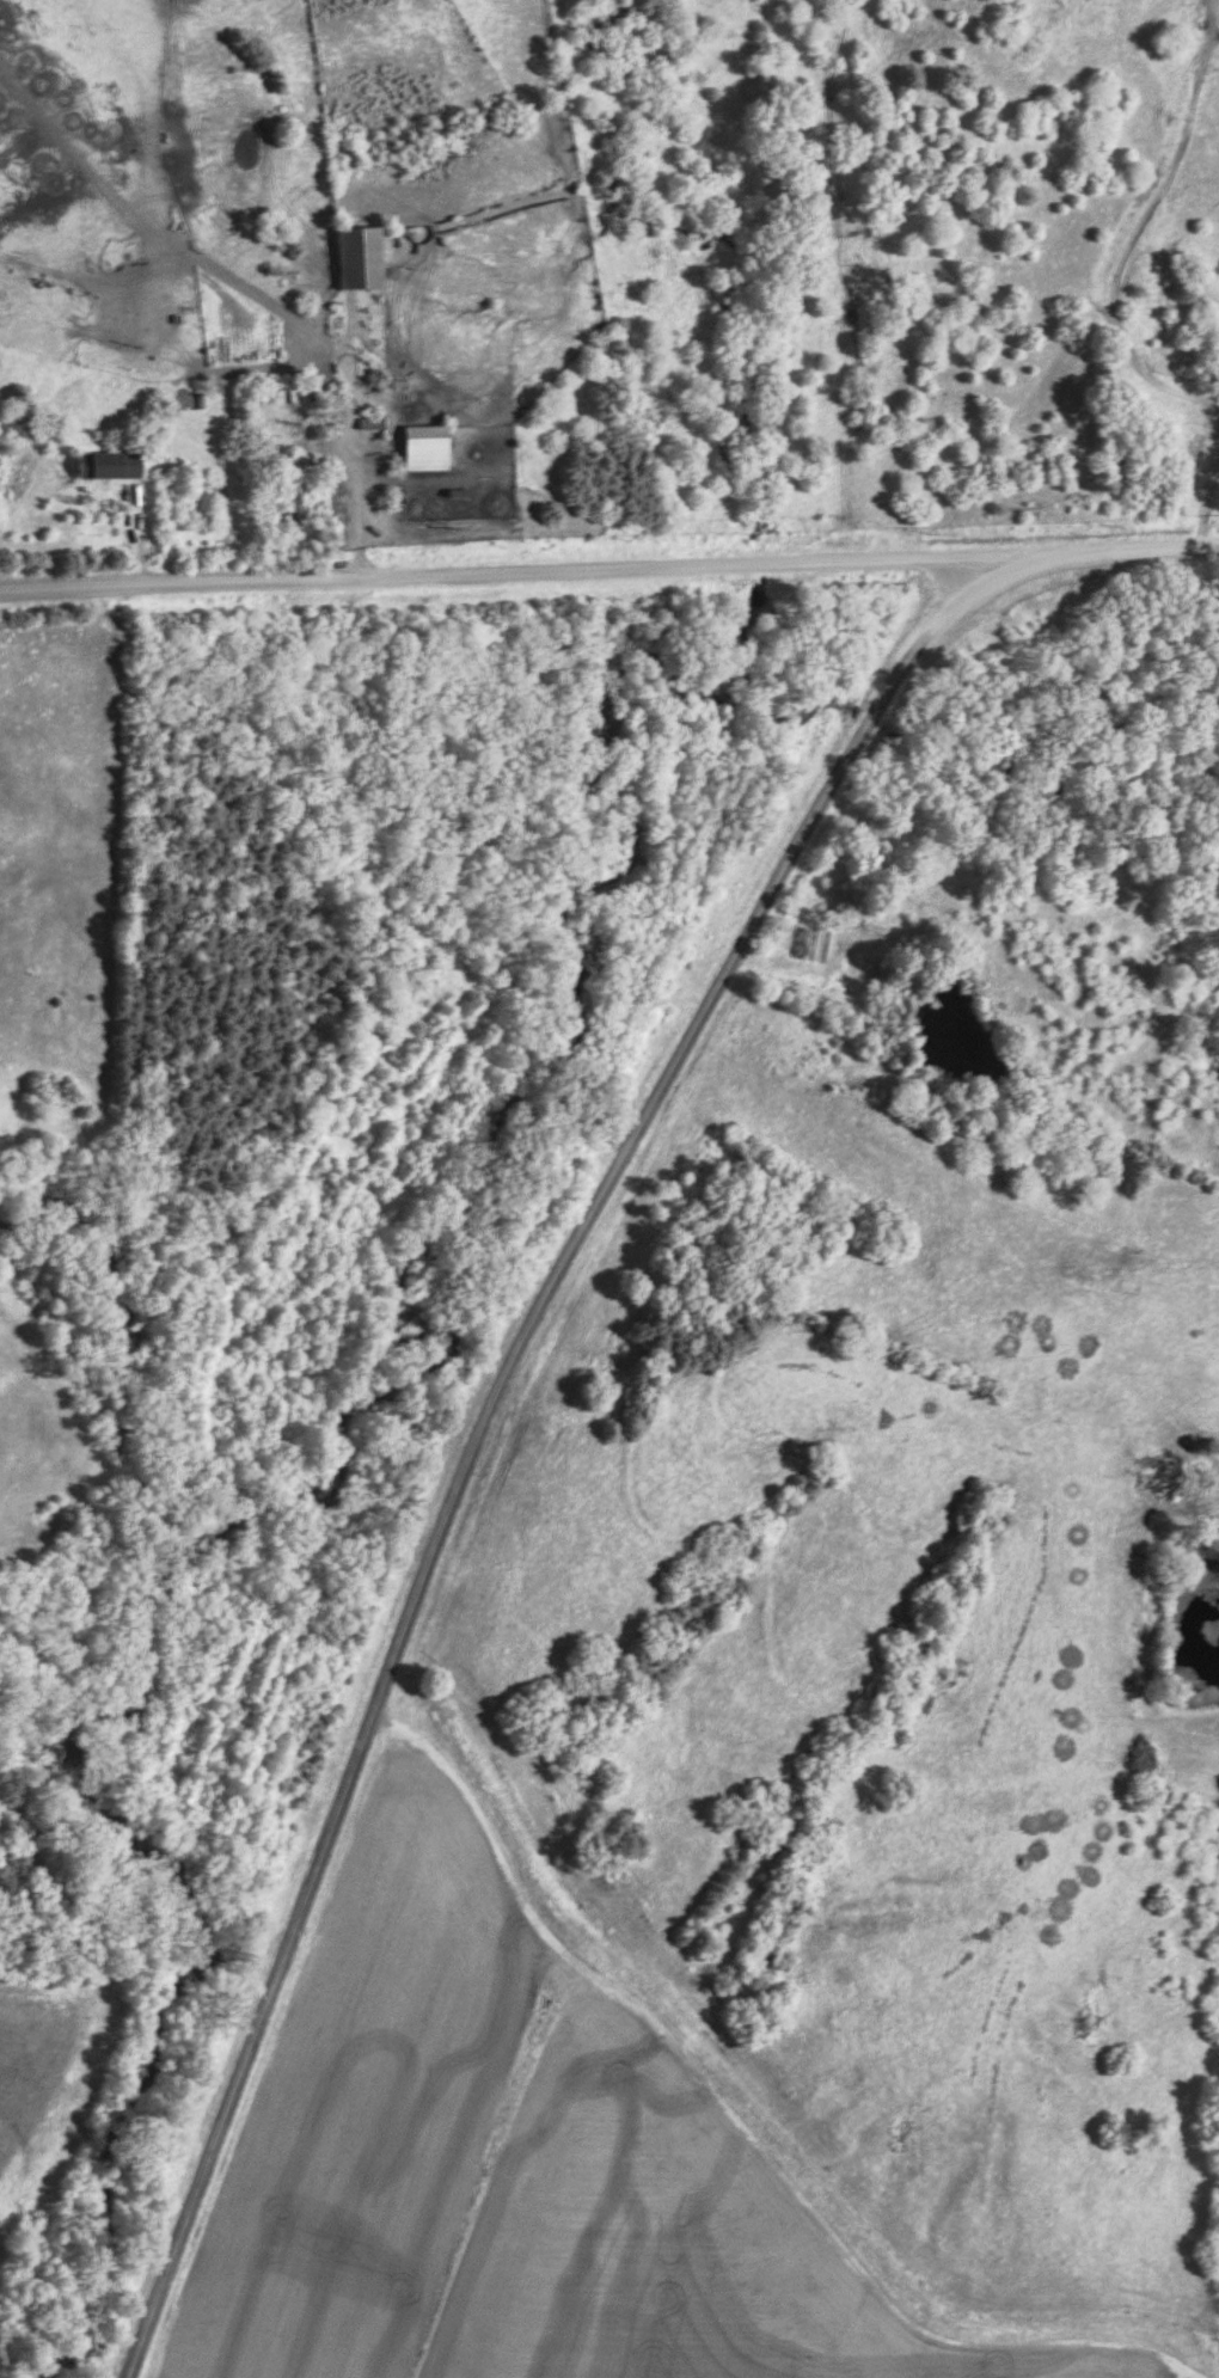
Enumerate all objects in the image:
building: (350, 255)
building: (414, 446)
building: (278, 459)
building: (112, 464)
road: (608, 565)
building: (795, 939)
road: (482, 1423)

